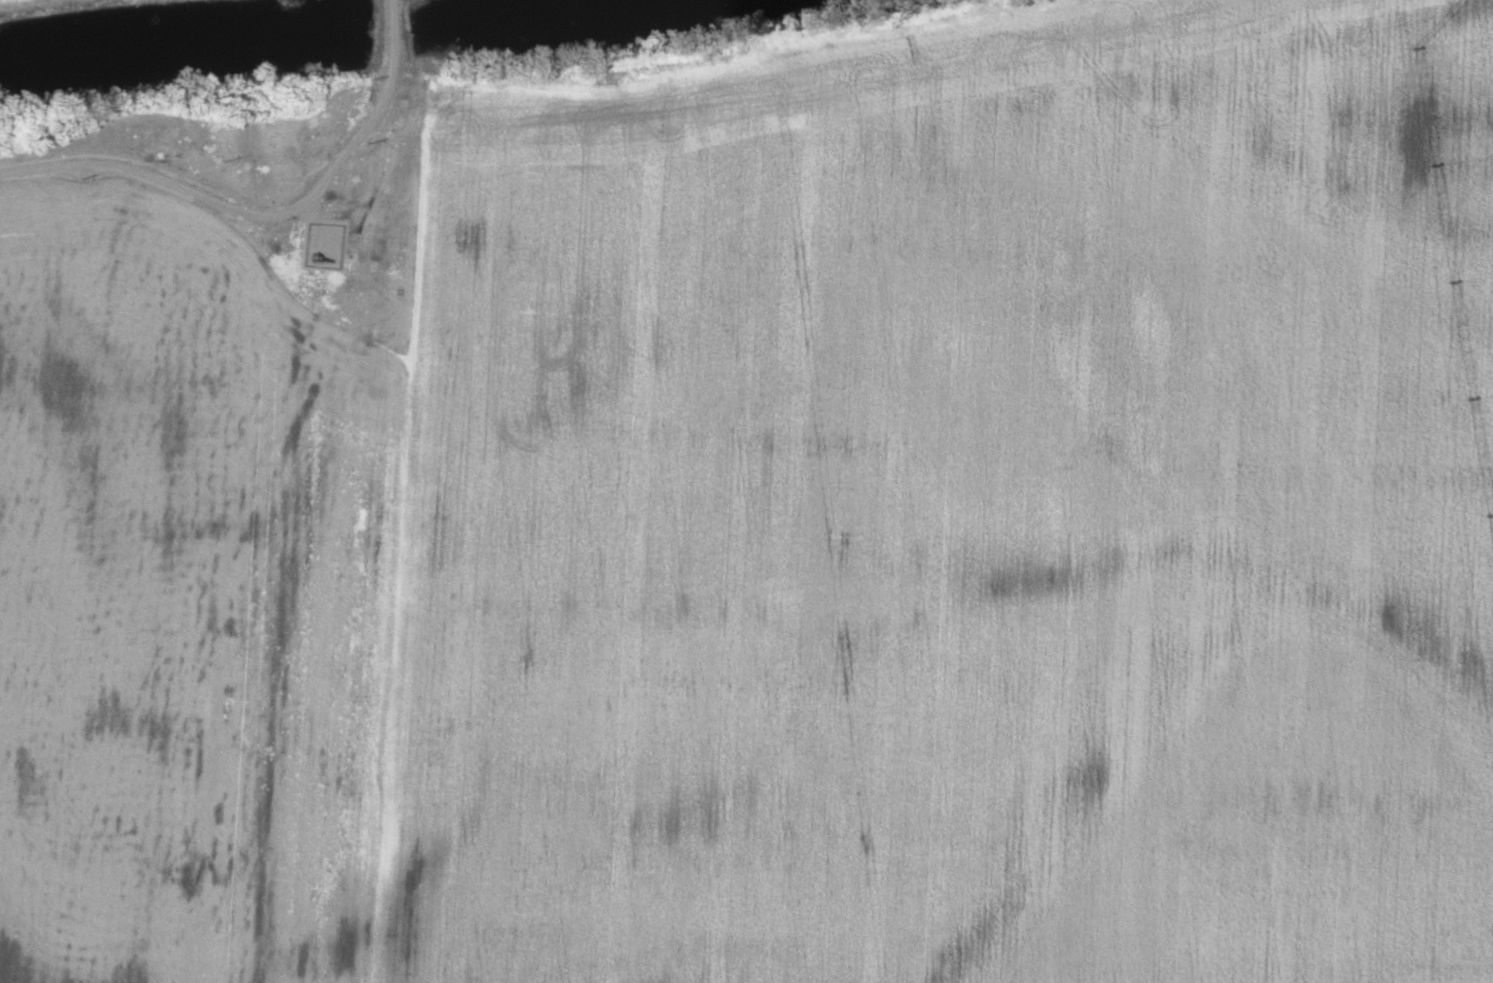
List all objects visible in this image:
crop: (954, 512)
crop: (199, 538)

